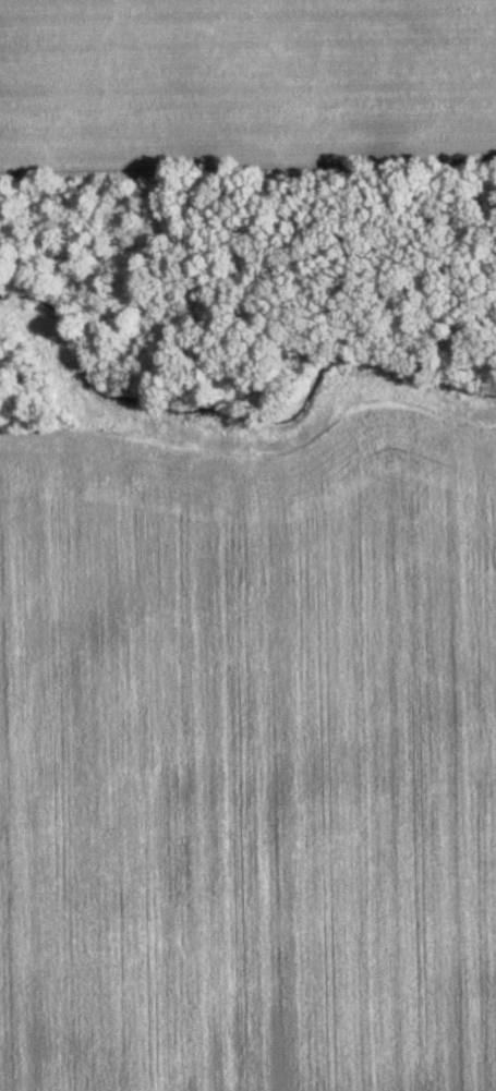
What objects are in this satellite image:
crop: (245, 78)
crop: (249, 761)

